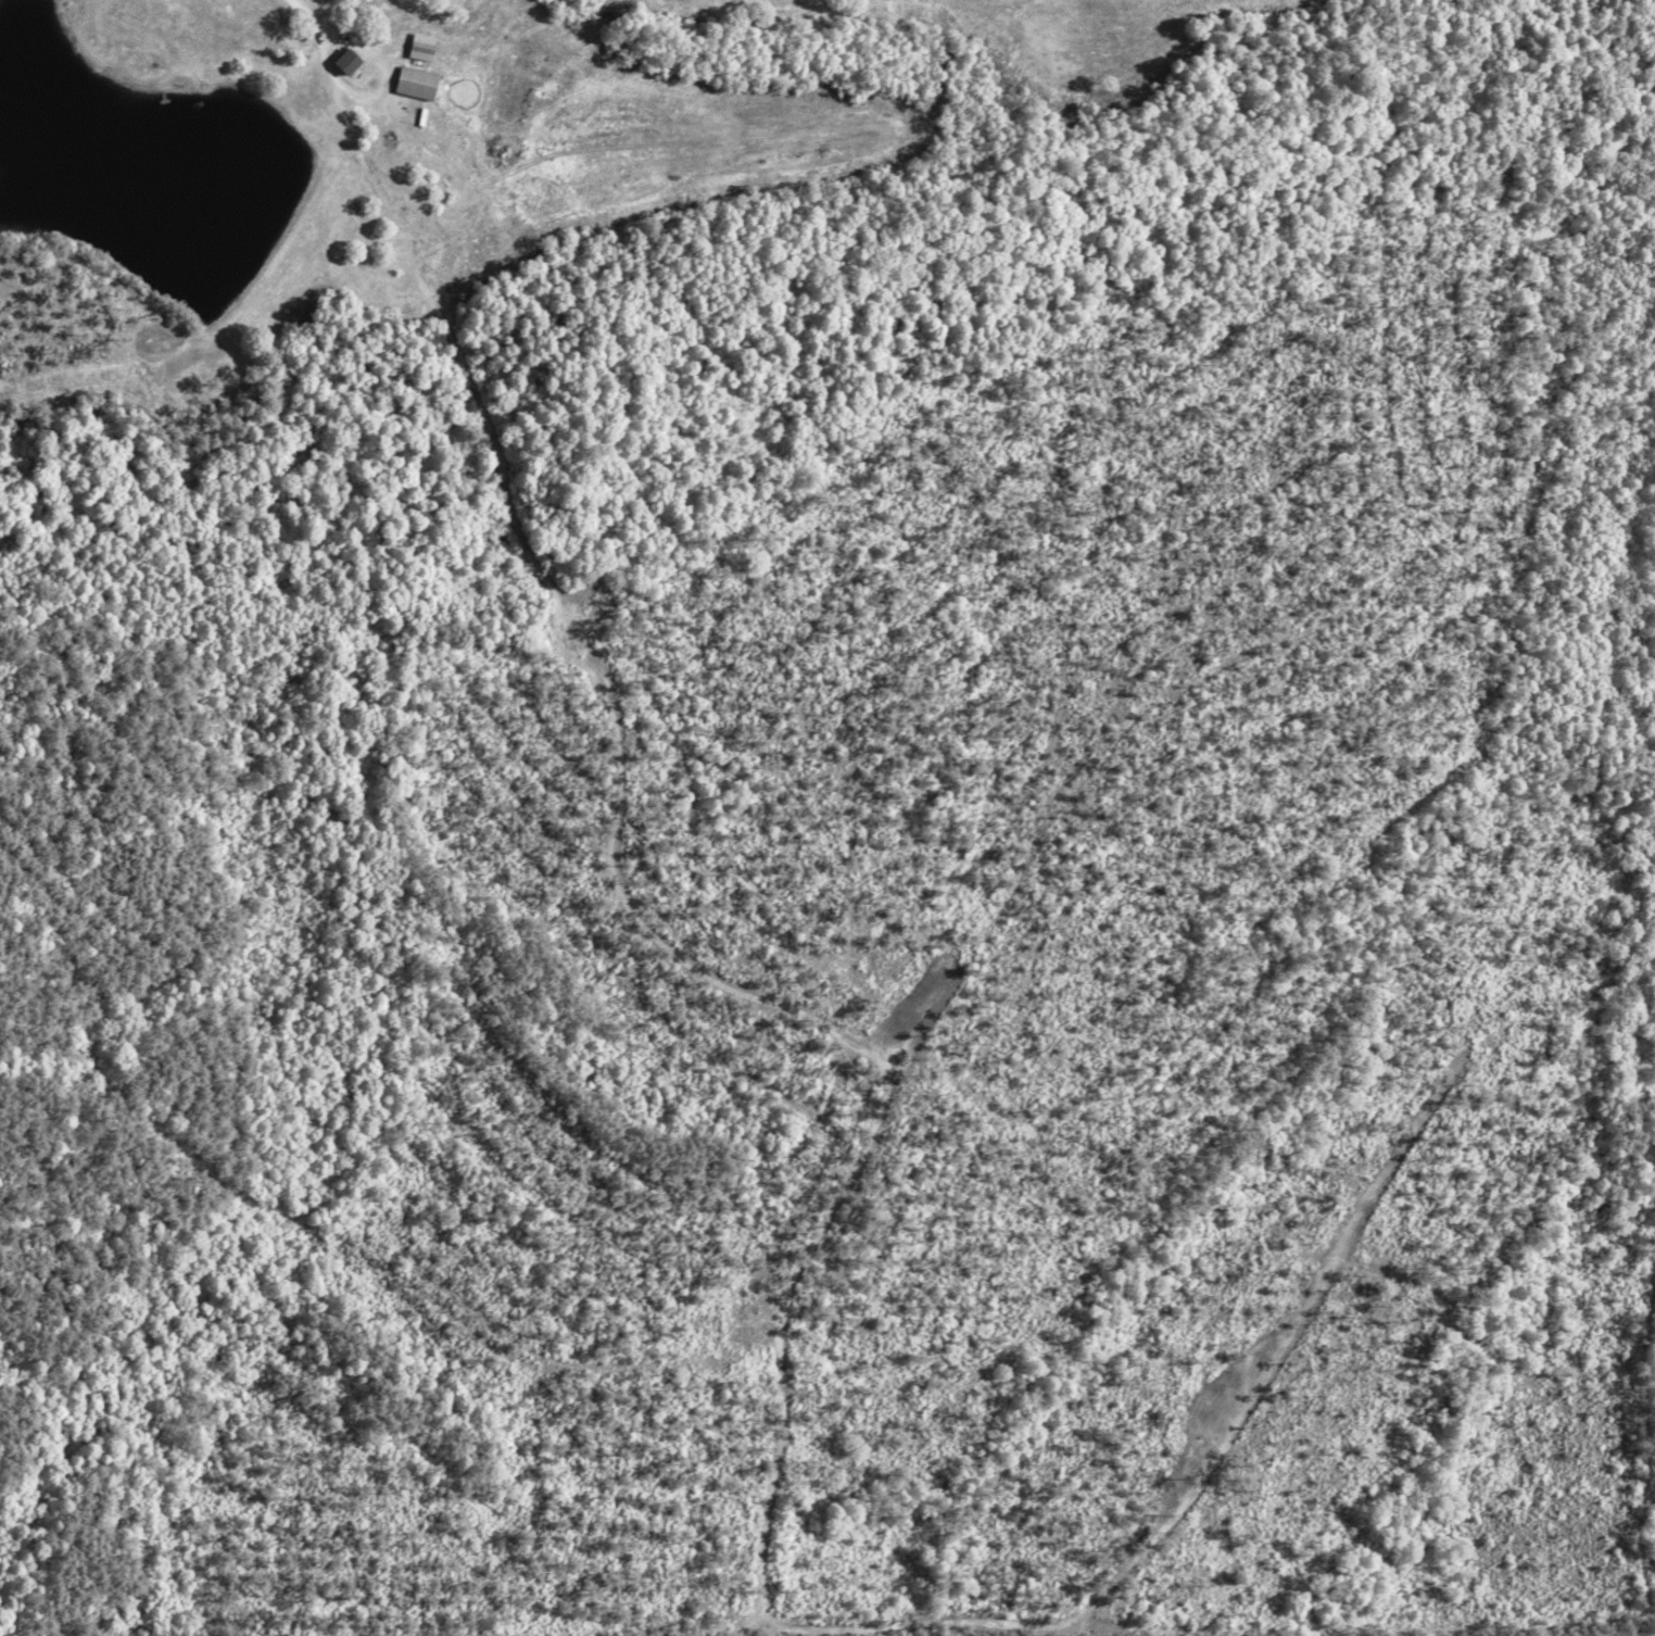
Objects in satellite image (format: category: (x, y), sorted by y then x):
road: (306, 18)
building: (418, 48)
building: (343, 62)
building: (413, 84)

